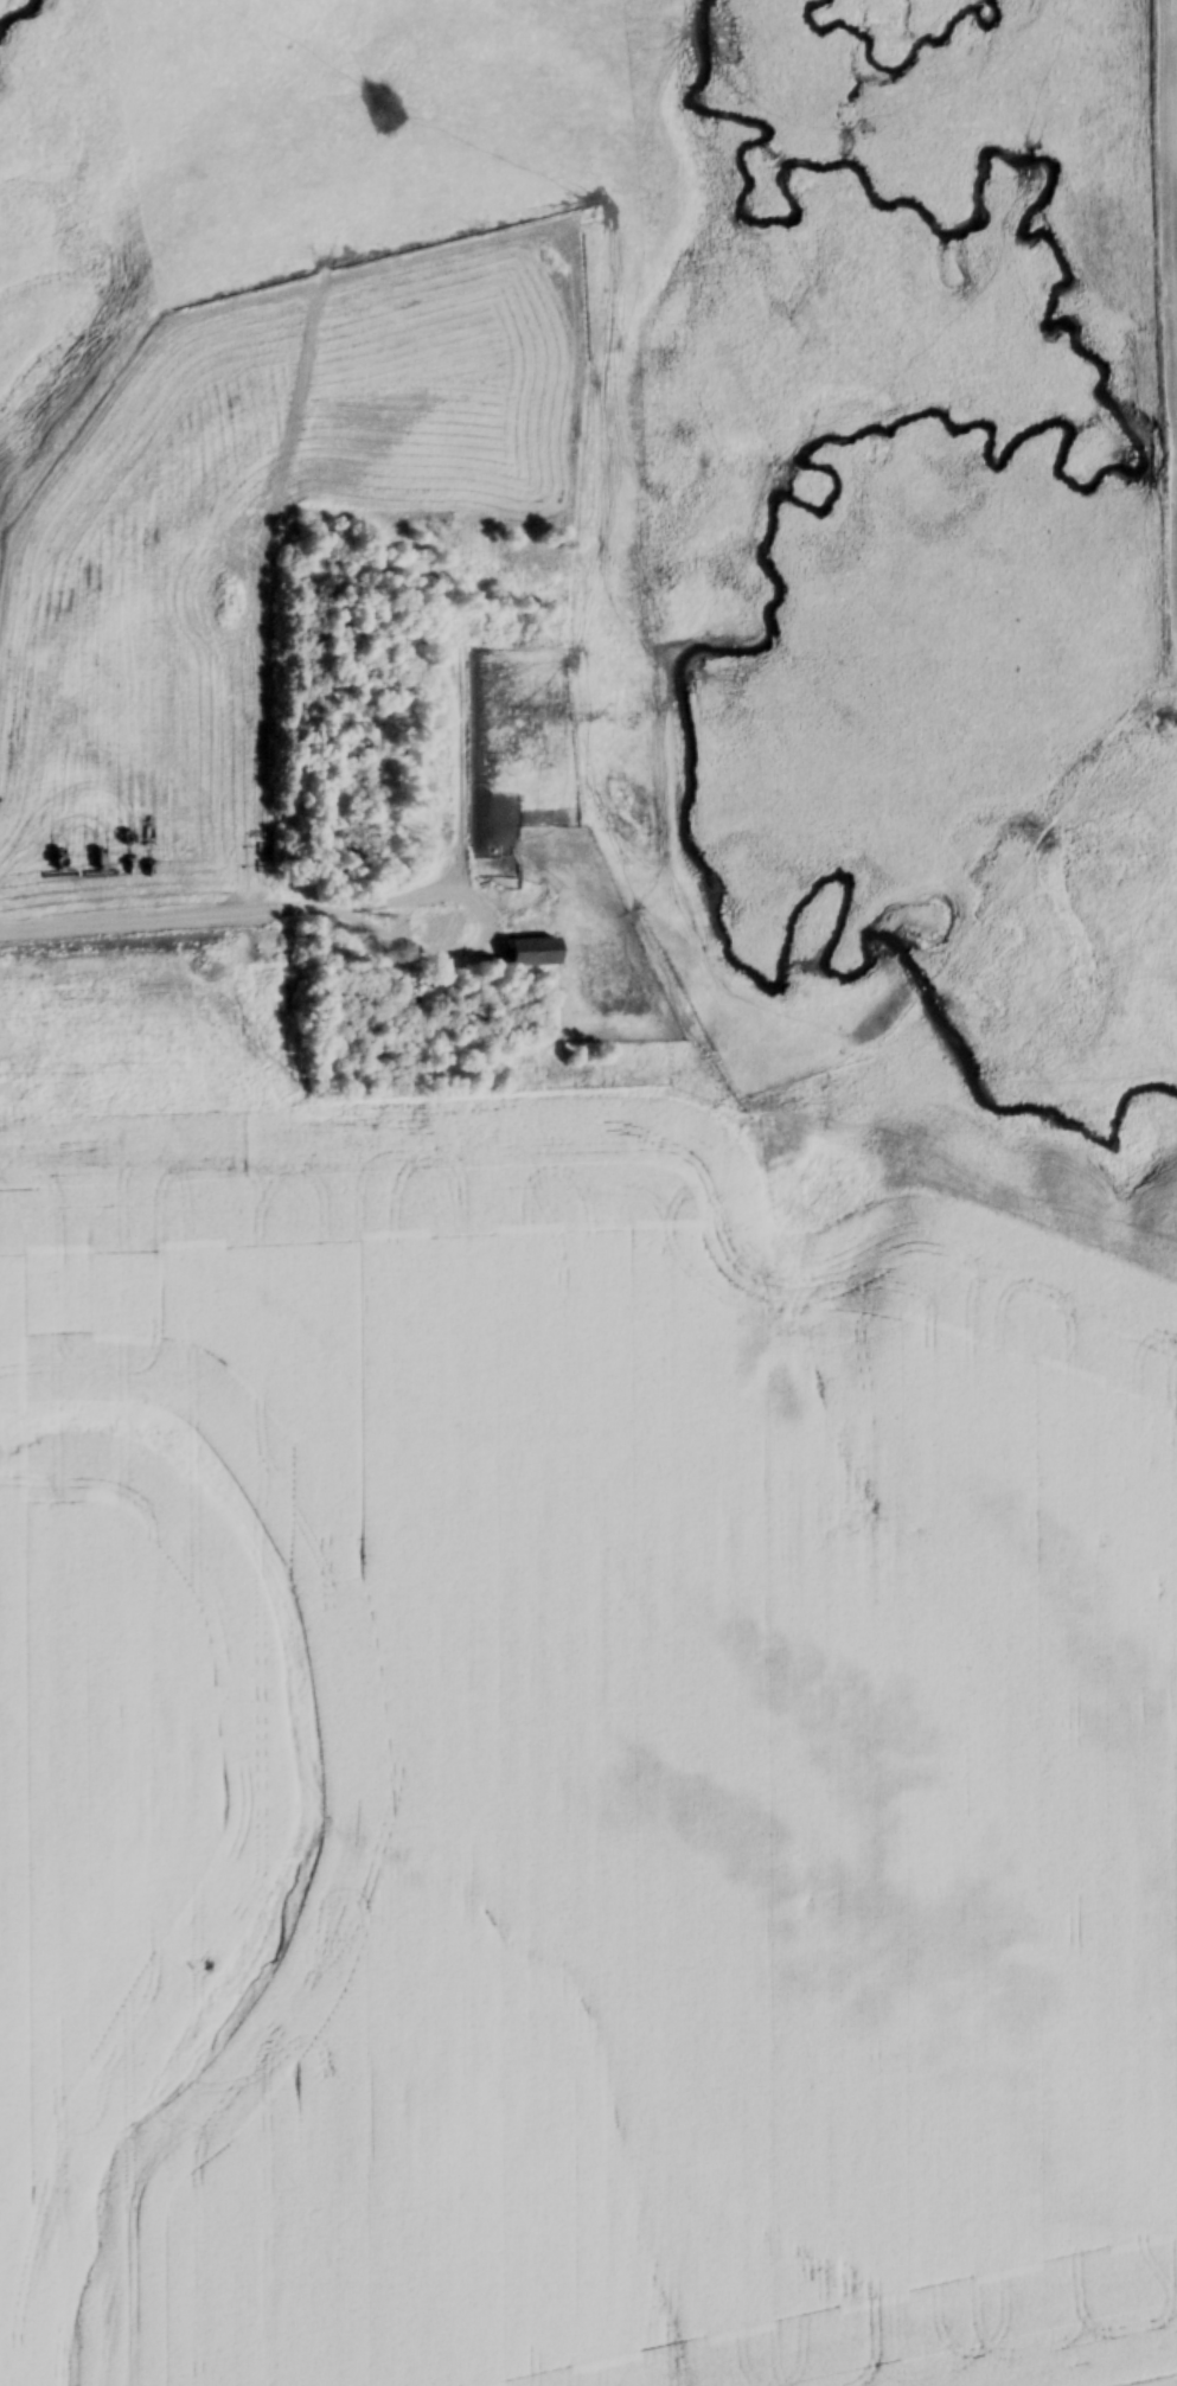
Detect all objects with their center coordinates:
building: (422, 763)
building: (536, 856)
road: (239, 914)
building: (437, 933)
building: (531, 953)

